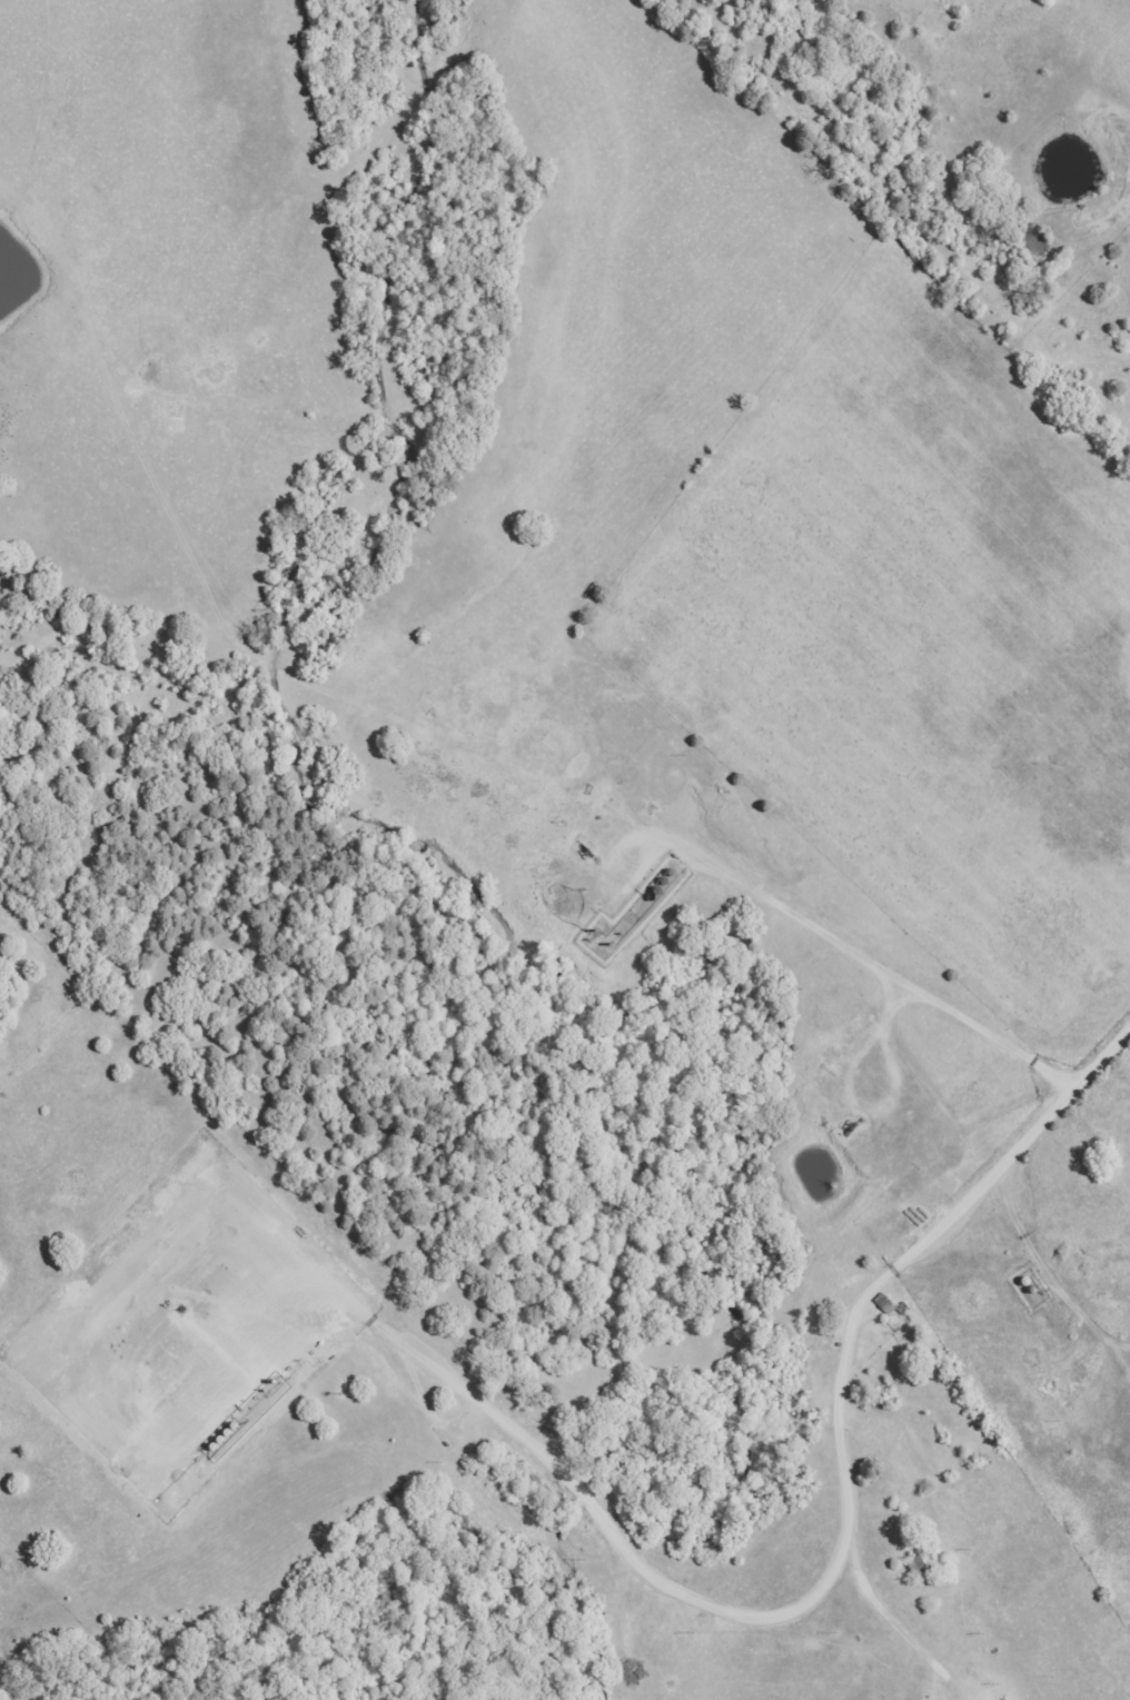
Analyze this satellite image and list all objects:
petroleum well: (594, 853)
road: (1059, 1103)
petroleum well: (851, 1124)

